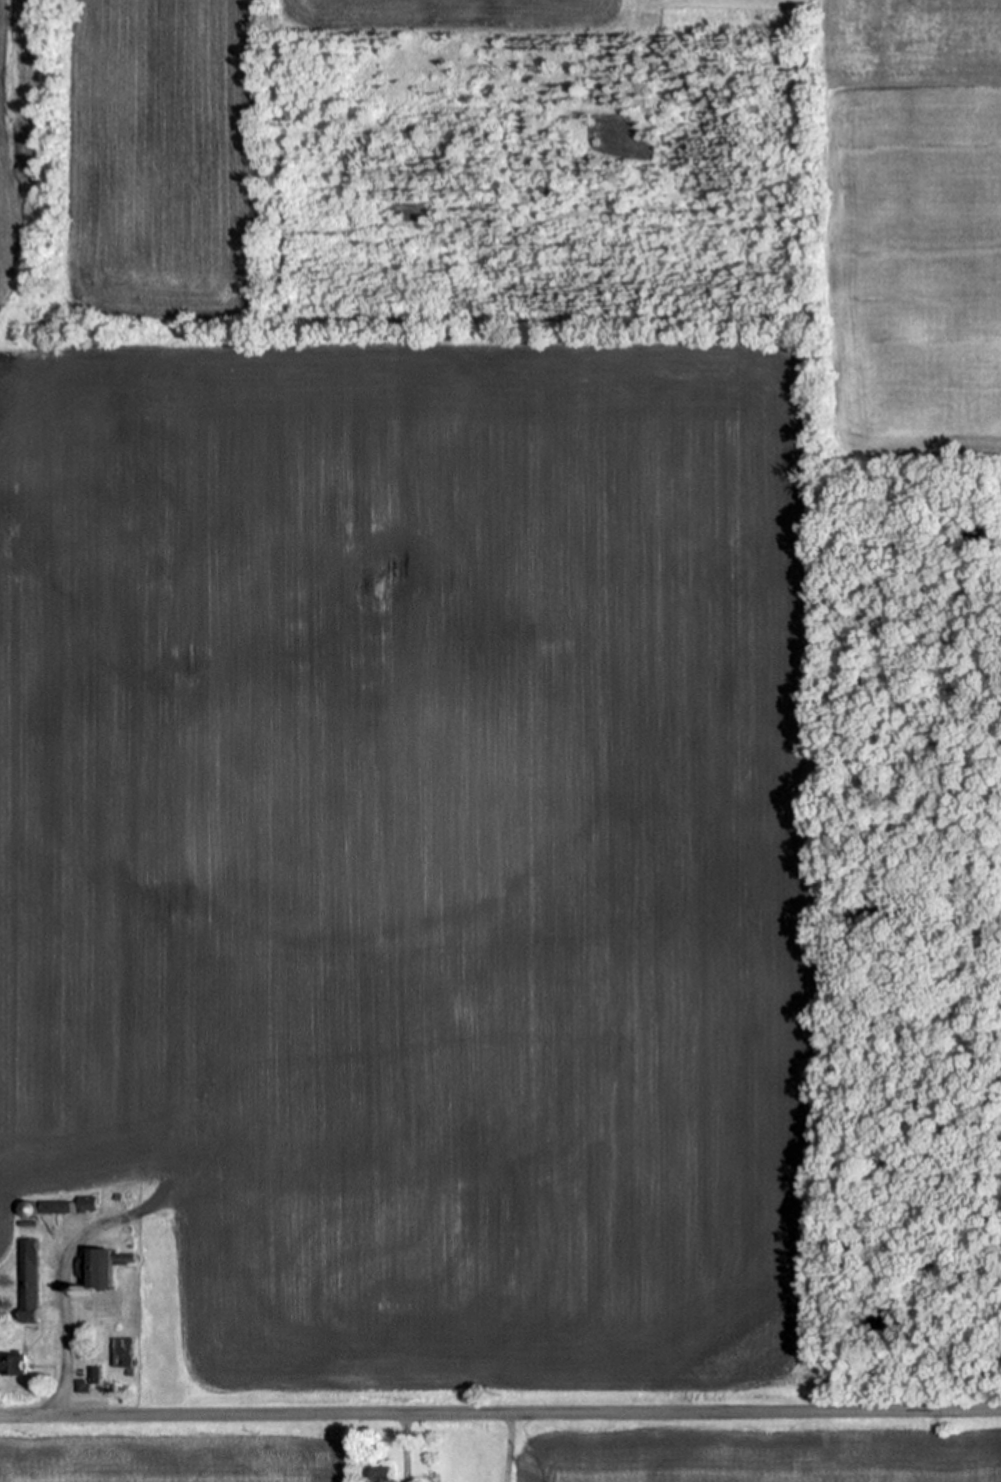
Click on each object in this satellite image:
building: (560, 191)
airport runway: (158, 870)
building: (119, 1196)
building: (87, 1204)
building: (54, 1207)
building: (74, 1209)
building: (29, 1210)
building: (28, 1224)
building: (100, 1267)
building: (28, 1281)
building: (82, 1293)
road: (58, 1319)
building: (122, 1353)
building: (15, 1365)
building: (127, 1372)
building: (86, 1381)
road: (500, 1415)
road: (402, 1449)
building: (384, 1473)

